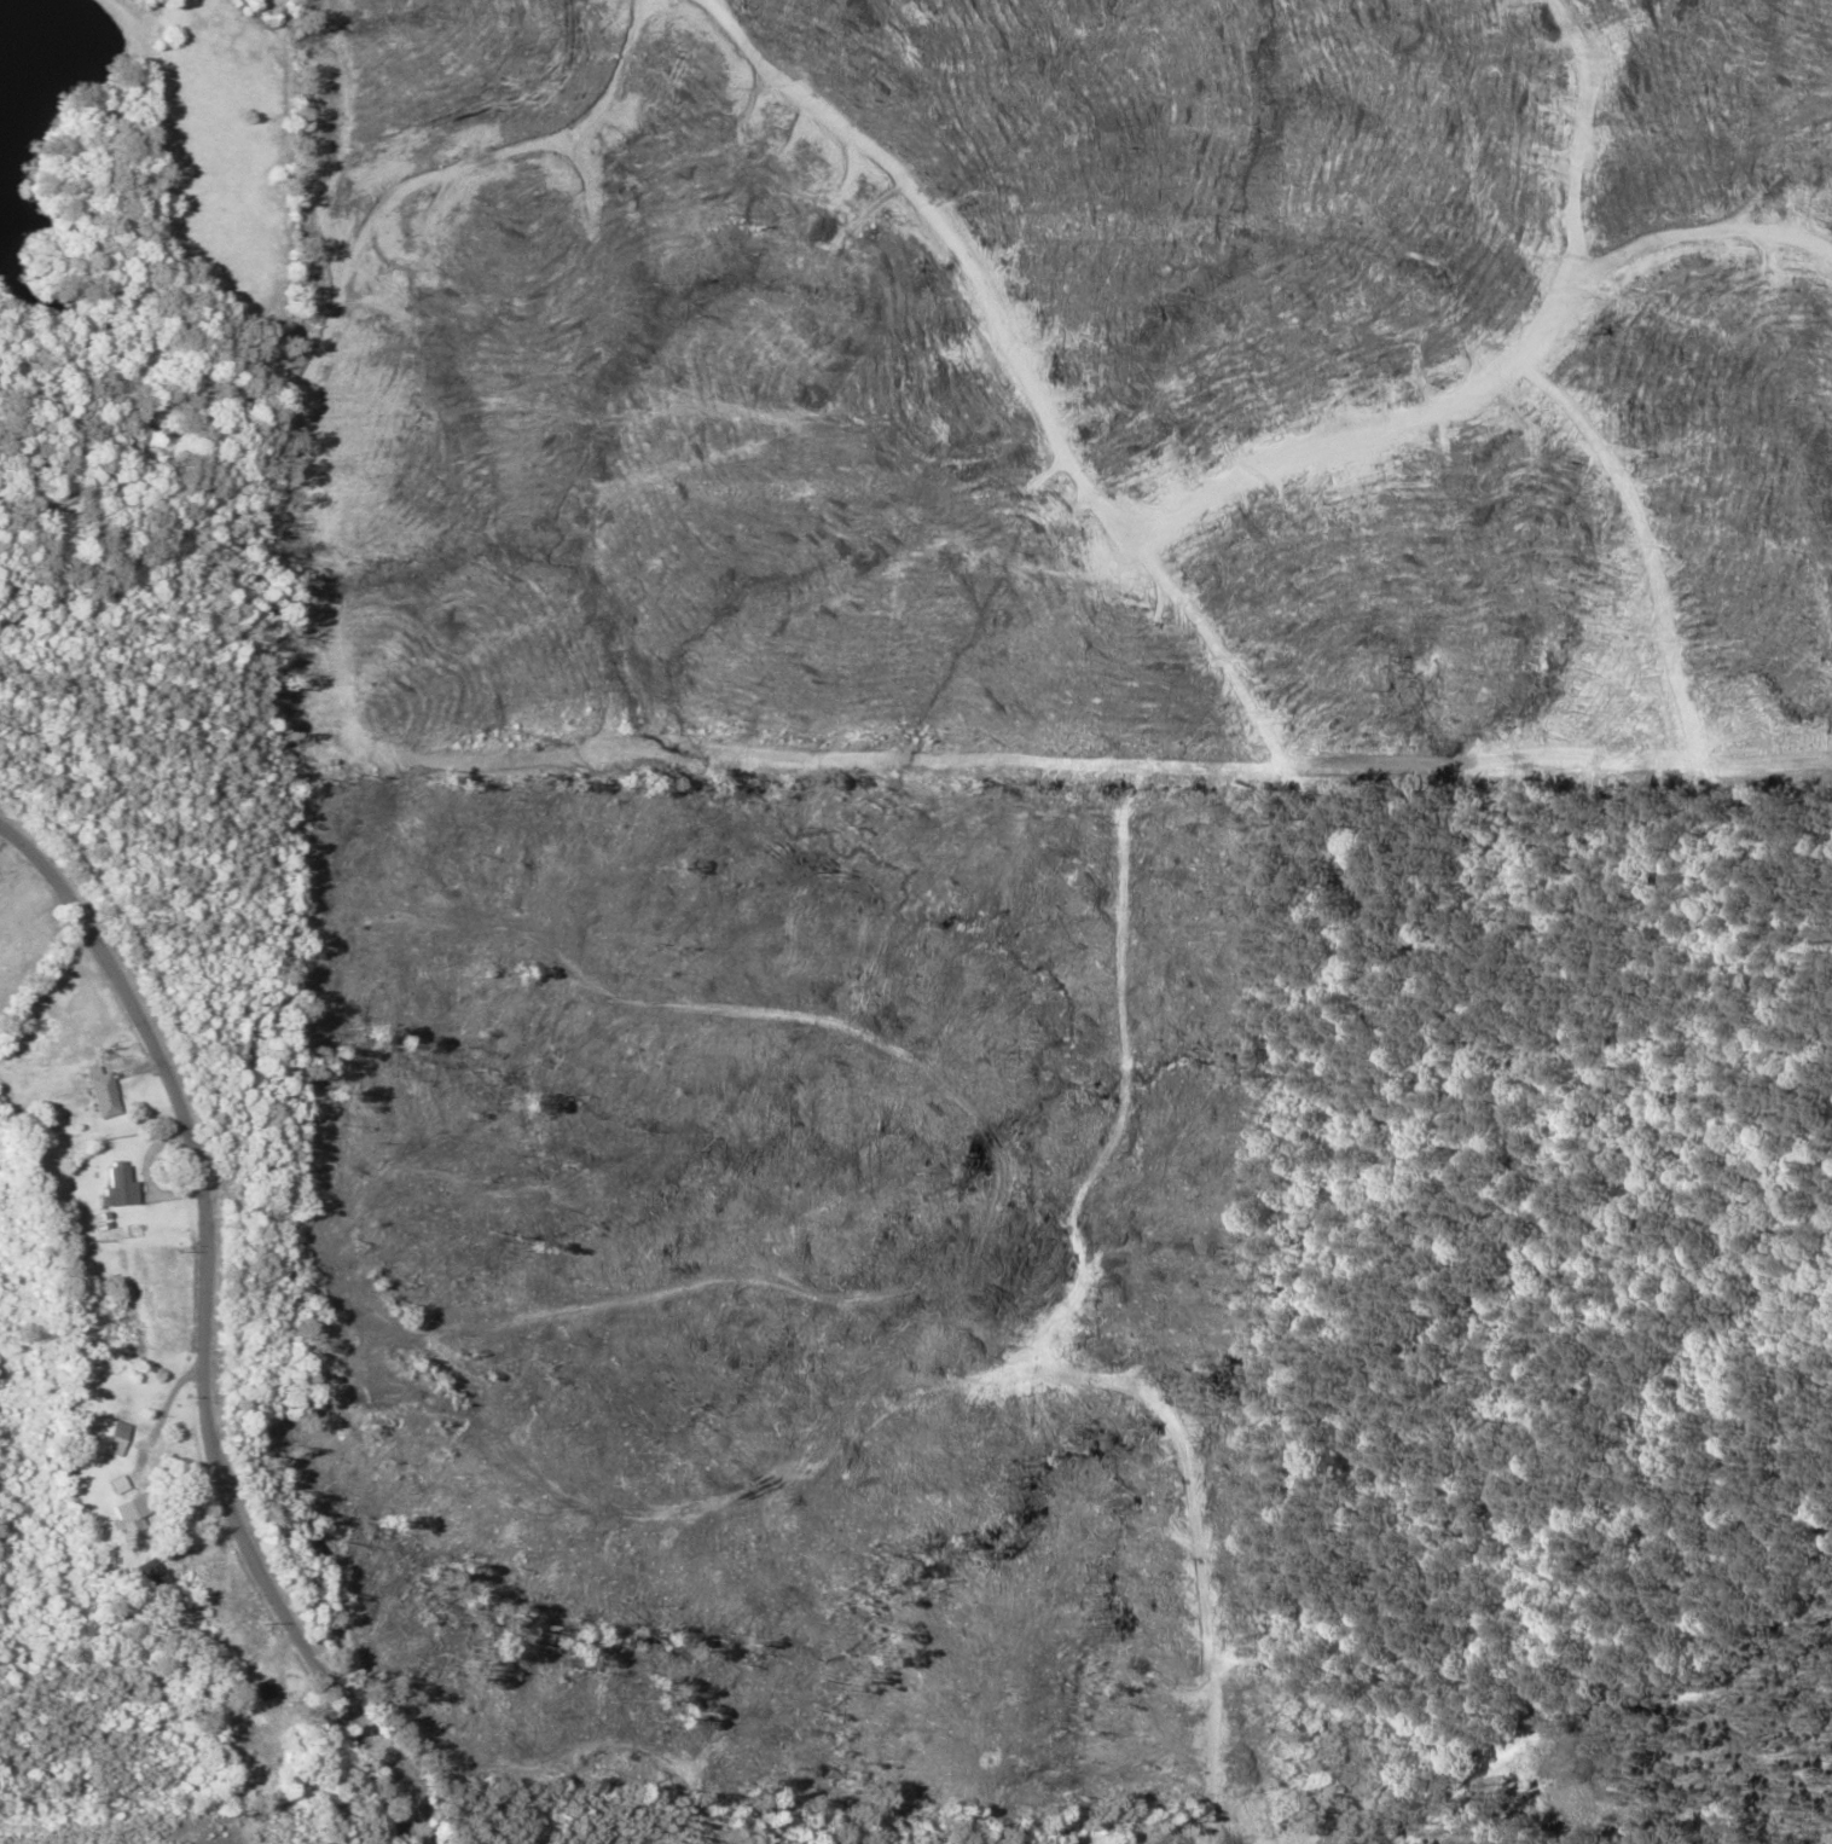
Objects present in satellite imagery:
building: (89, 1096)
building: (104, 1181)
road: (170, 1370)
building: (99, 1439)
building: (99, 1486)
building: (111, 1518)
building: (137, 1584)
building: (254, 1688)
building: (245, 1744)

